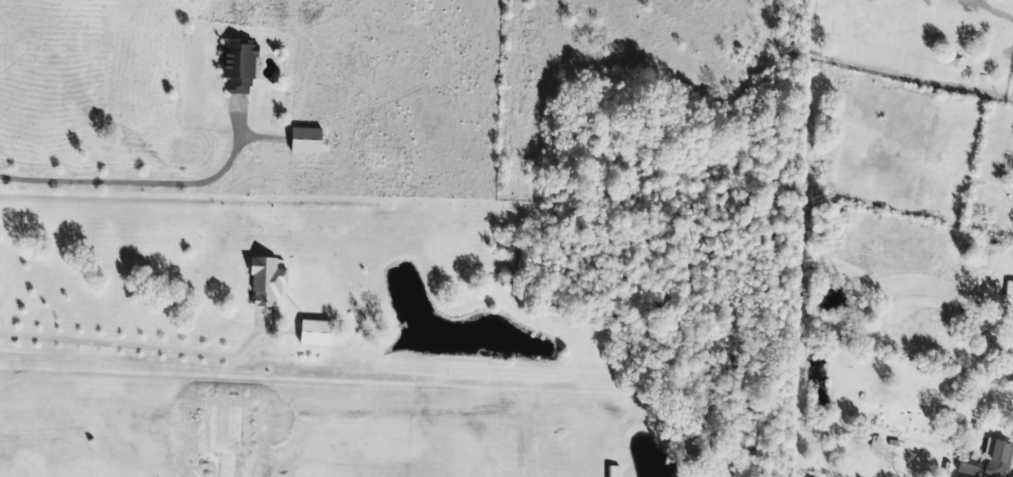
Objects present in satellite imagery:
building: (238, 65)
building: (305, 139)
building: (266, 281)
building: (1009, 289)
building: (315, 332)
building: (875, 443)
building: (997, 457)

